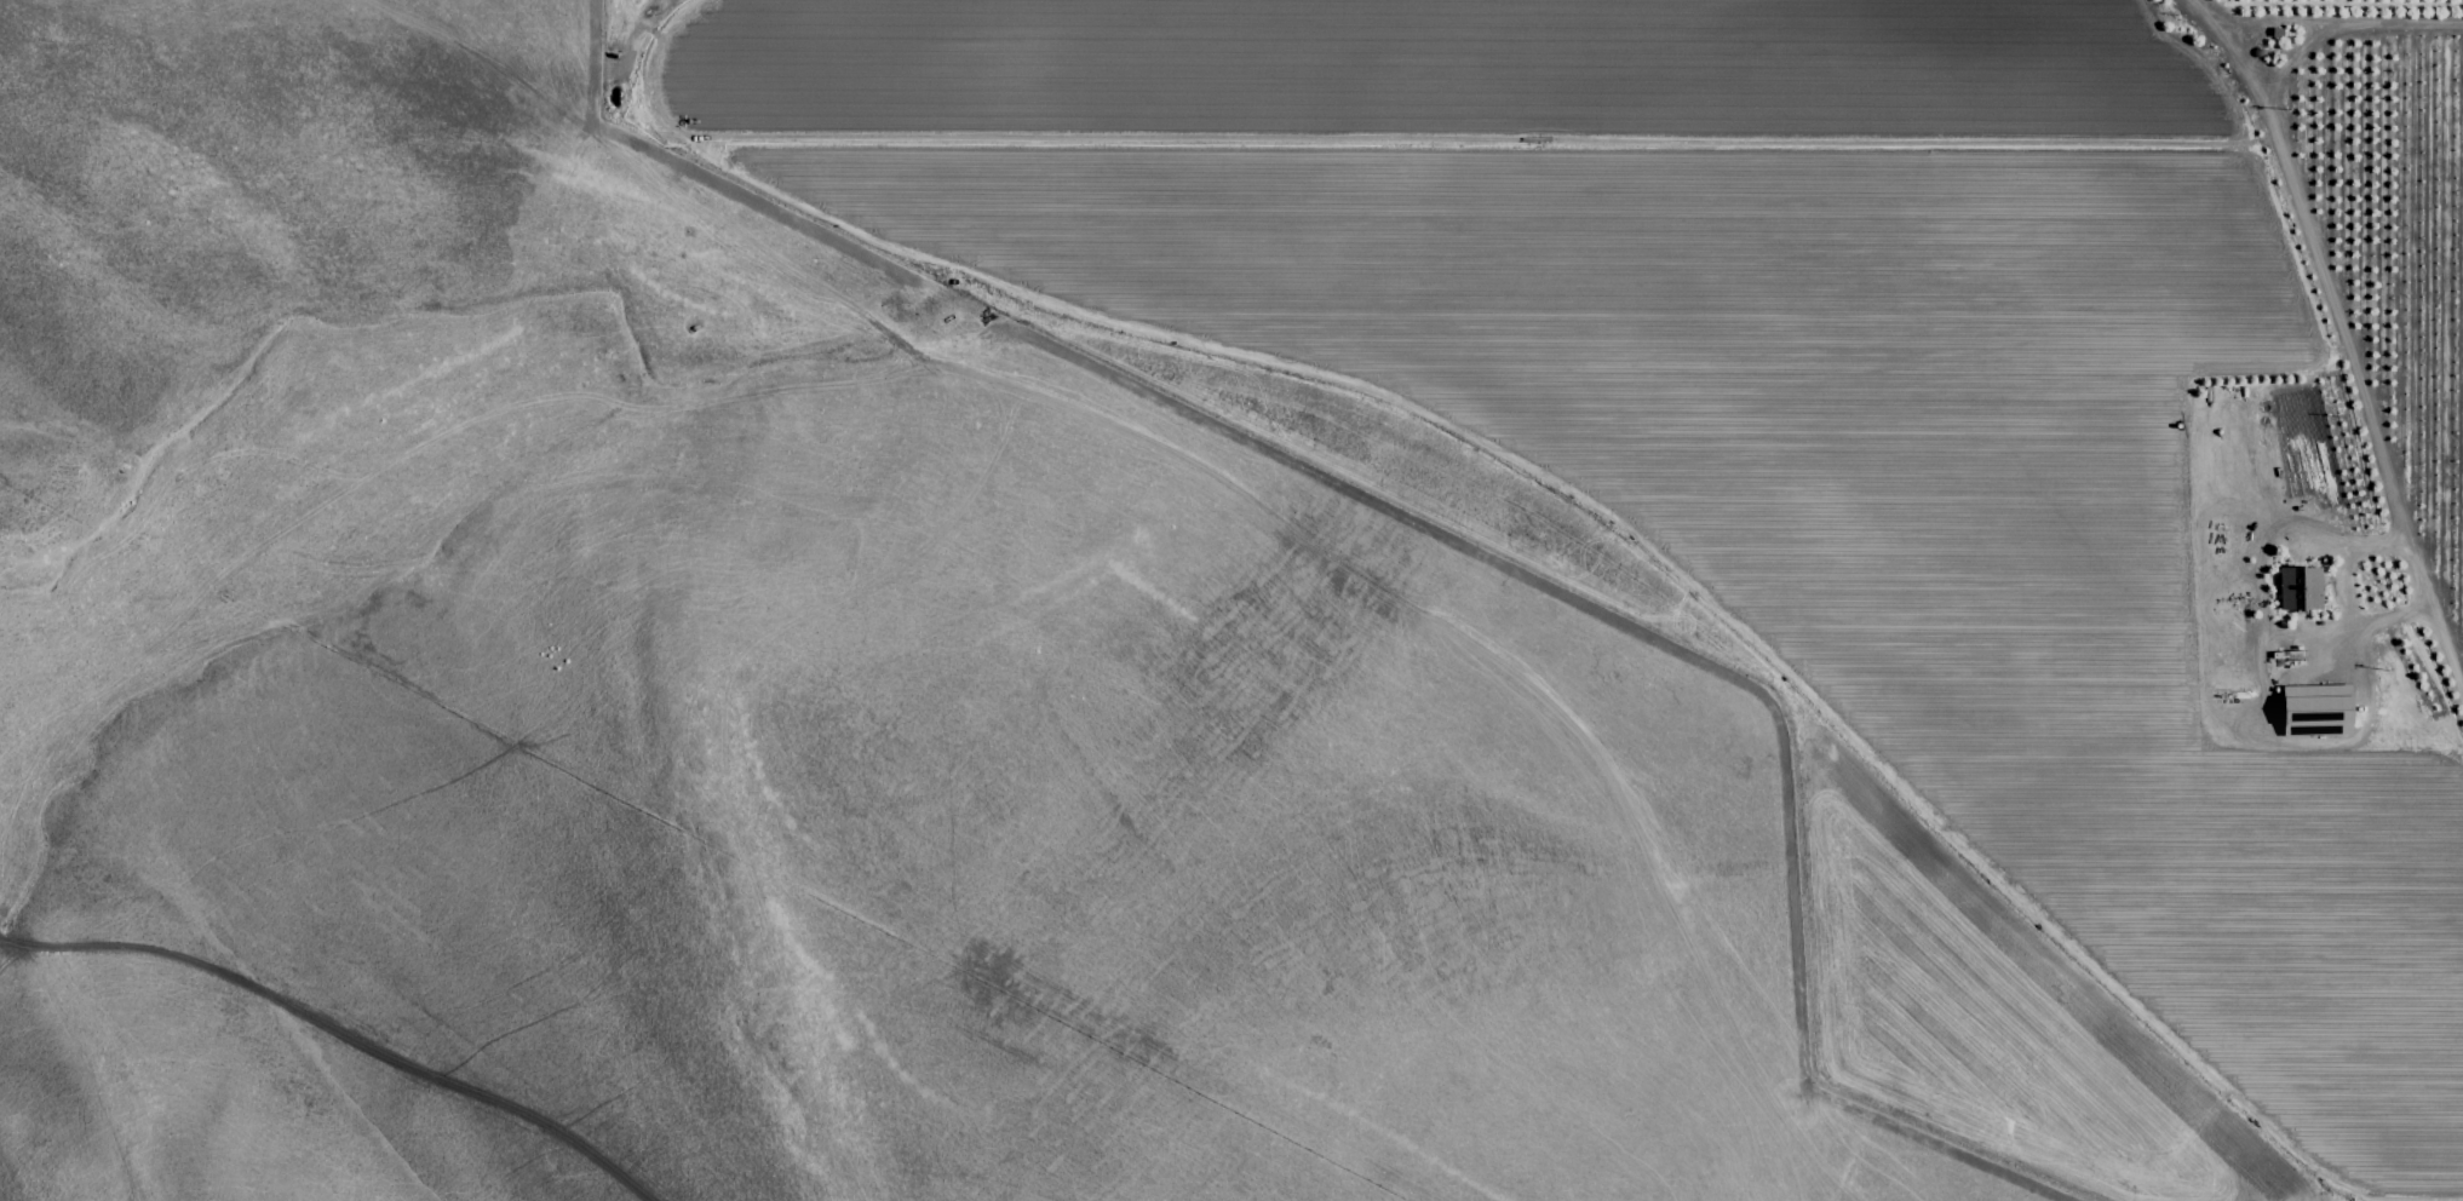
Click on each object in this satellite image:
building: (2298, 587)
crop: (1183, 615)
road: (2441, 640)

